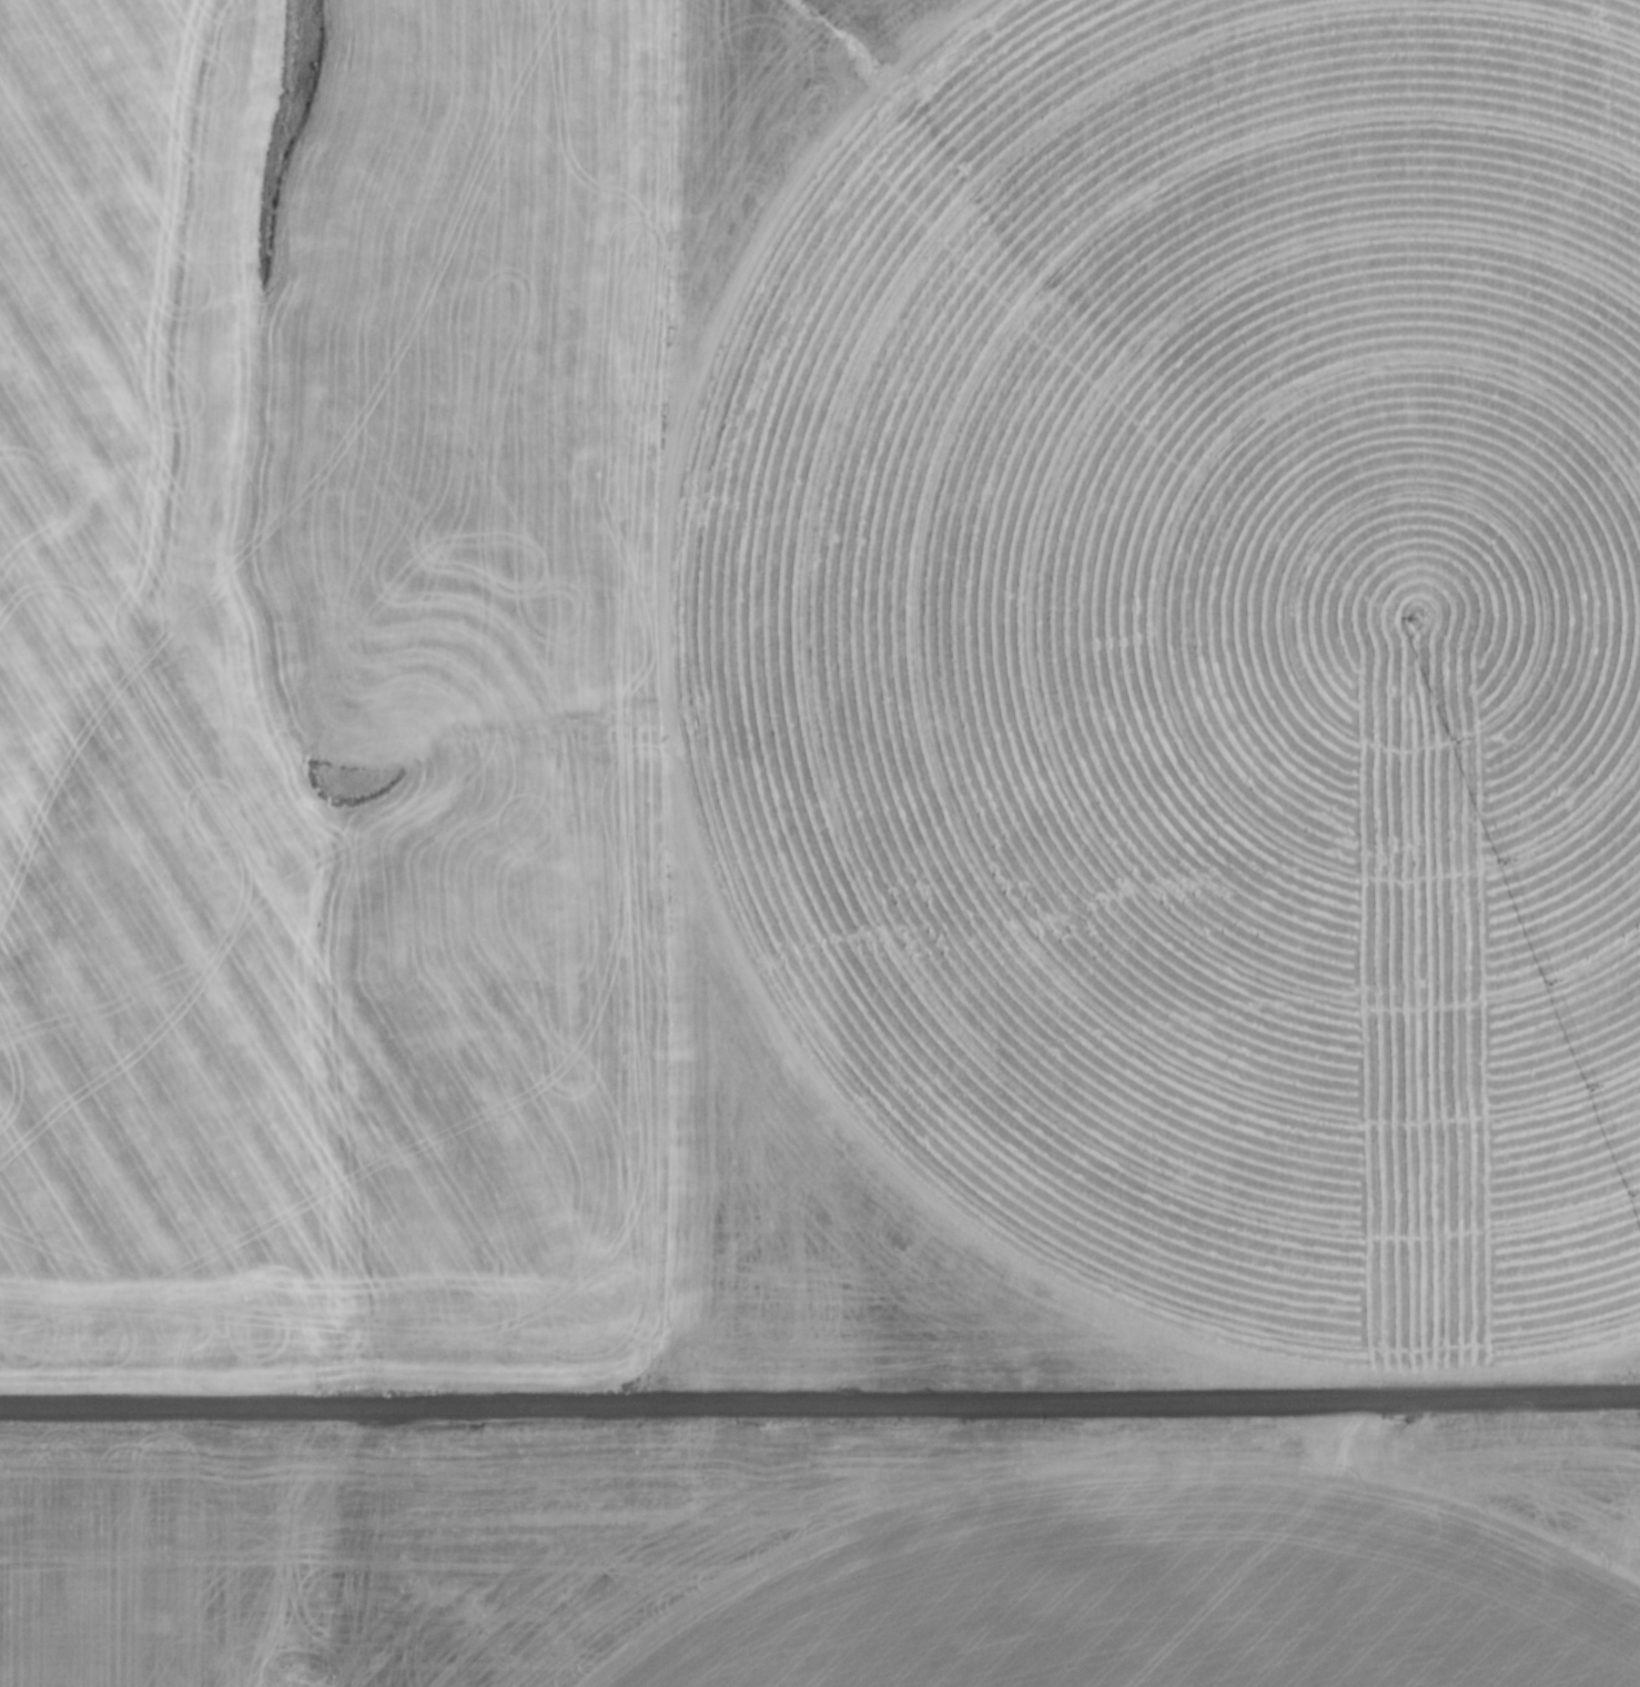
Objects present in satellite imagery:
crop: (1211, 666)
road: (819, 1404)
crop: (1181, 1610)

